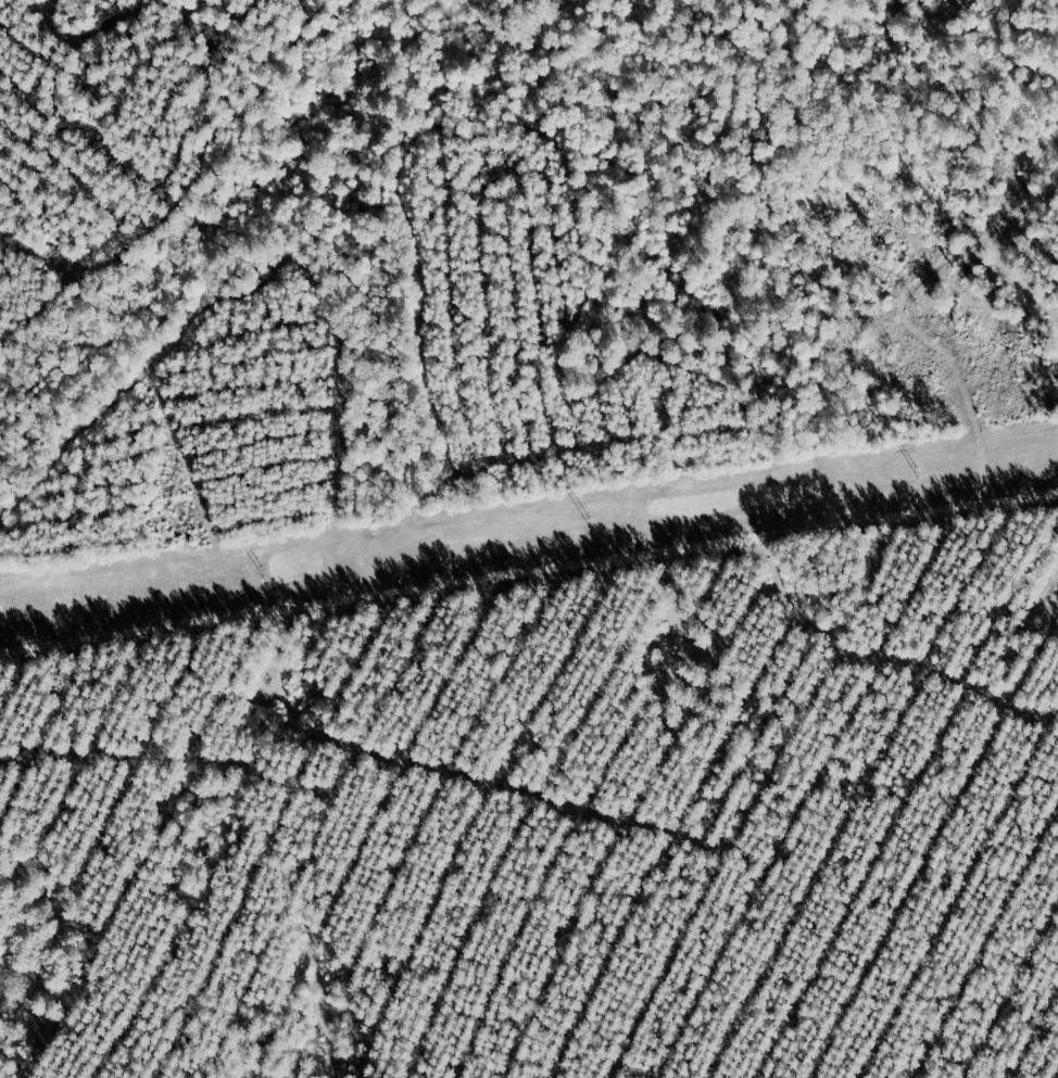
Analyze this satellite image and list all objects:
power tower: (916, 472)
power tower: (589, 523)
road: (526, 556)
power tower: (260, 573)

